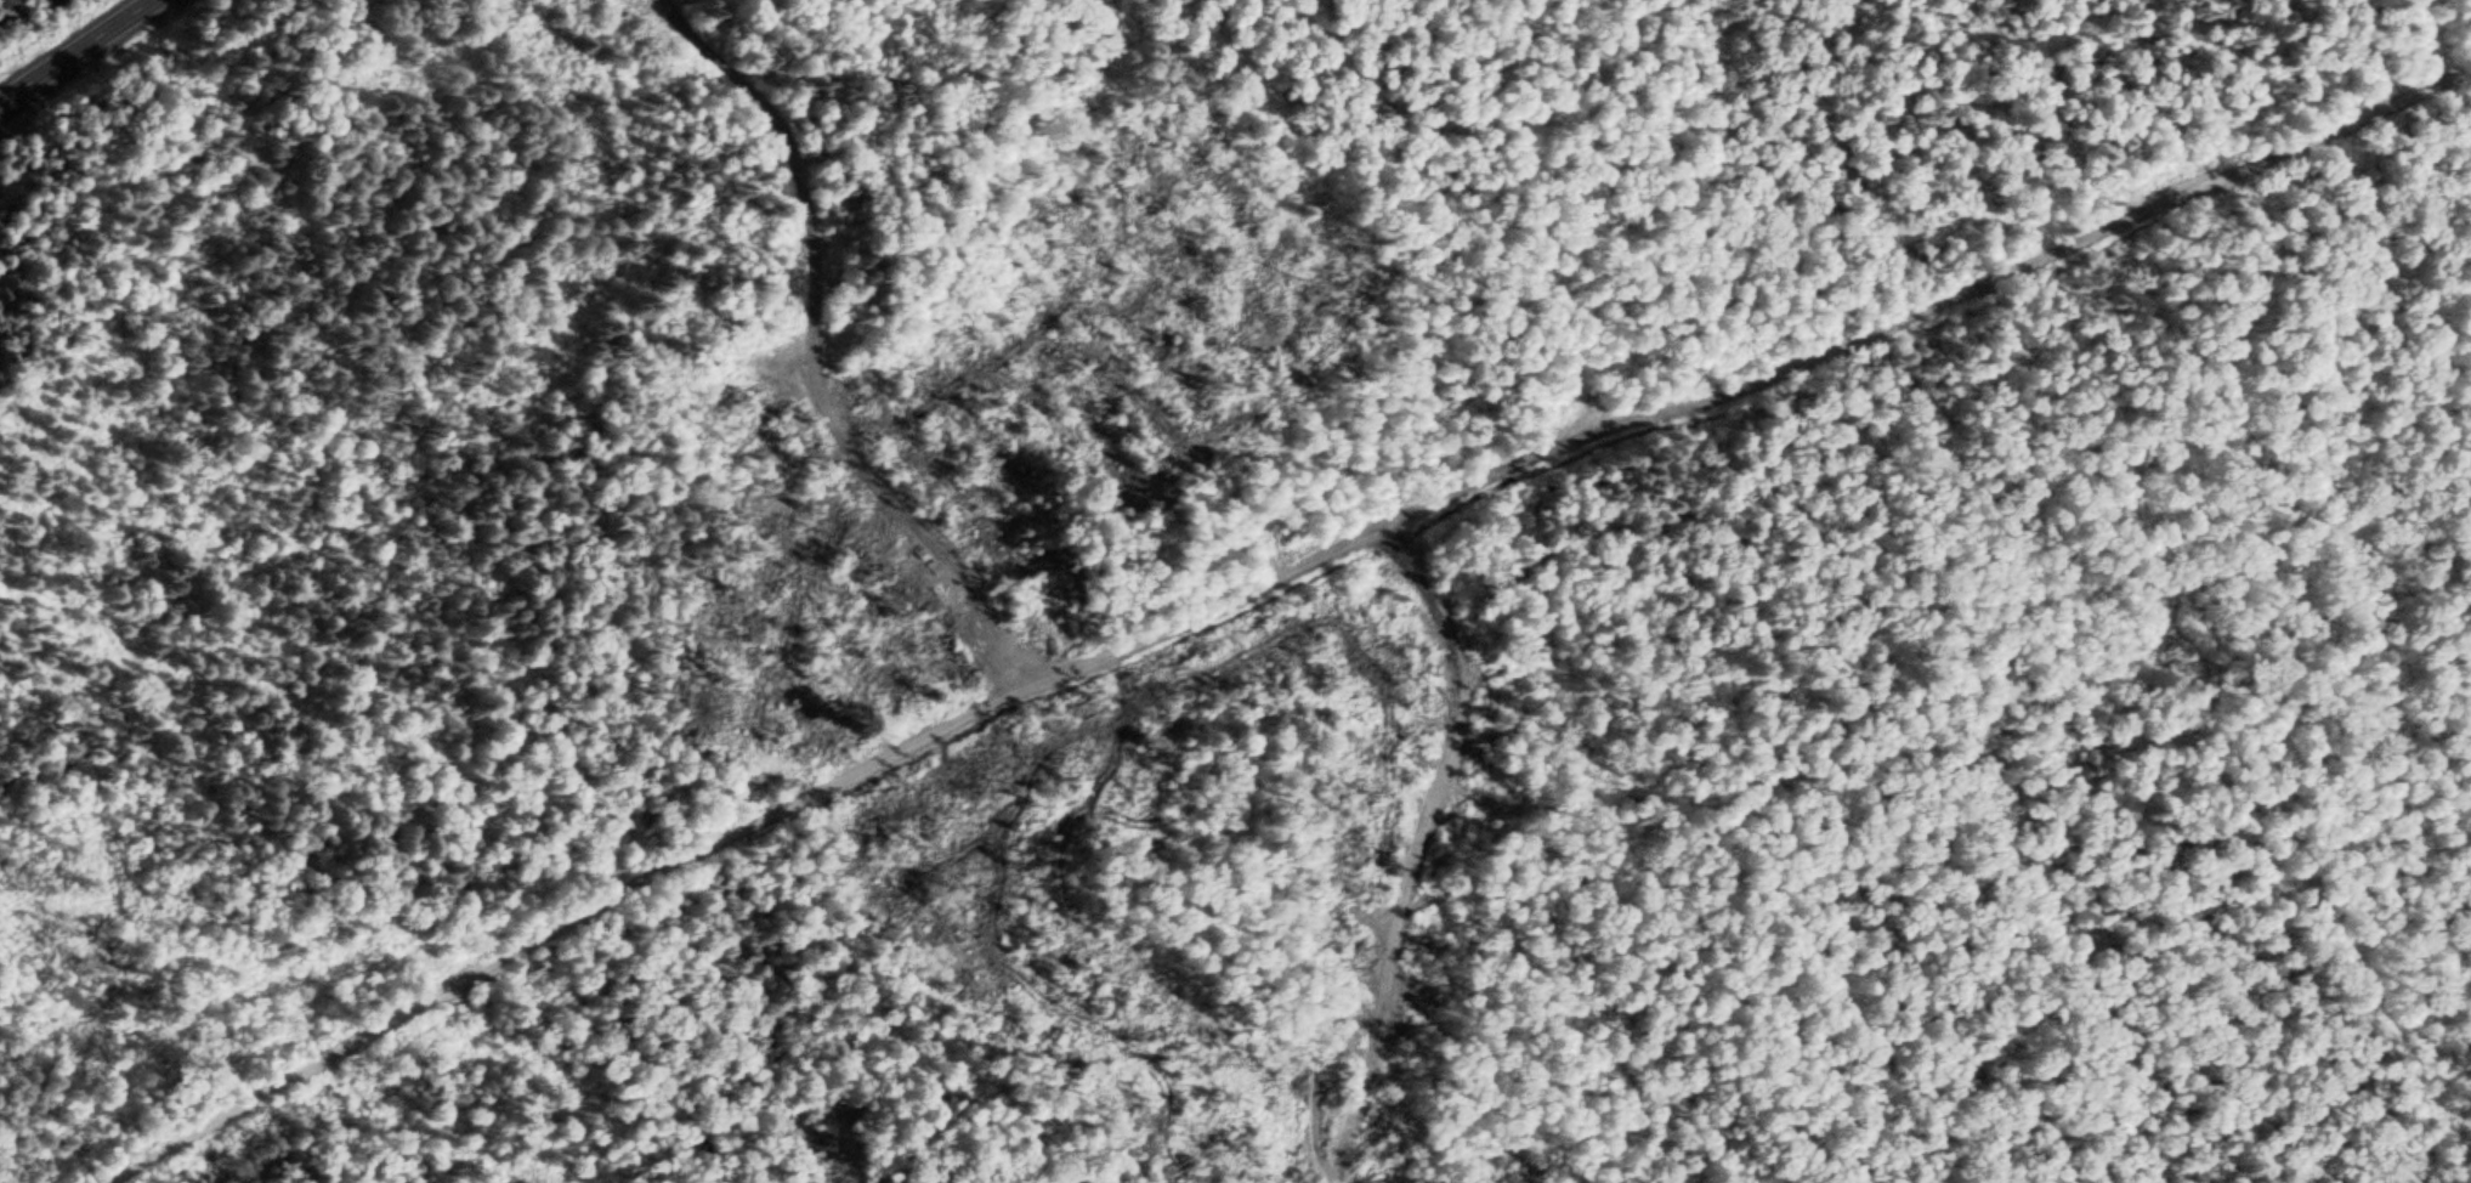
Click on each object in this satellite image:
river: (8, 4)
road: (70, 50)
road: (829, 351)
road: (1254, 600)

